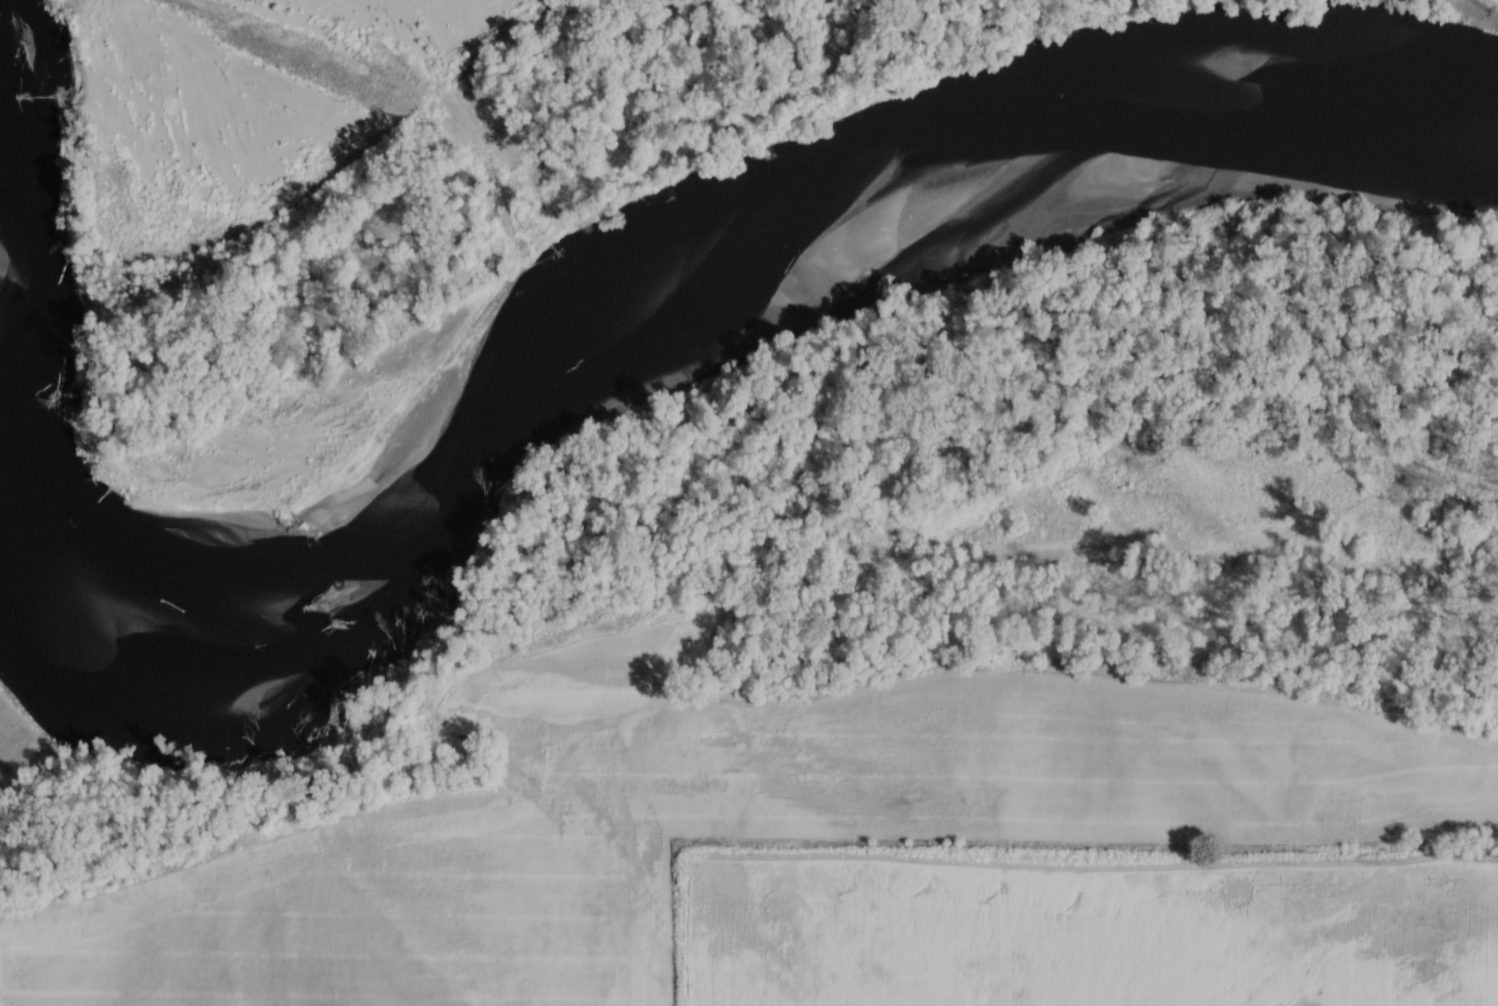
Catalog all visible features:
river: (697, 239)

